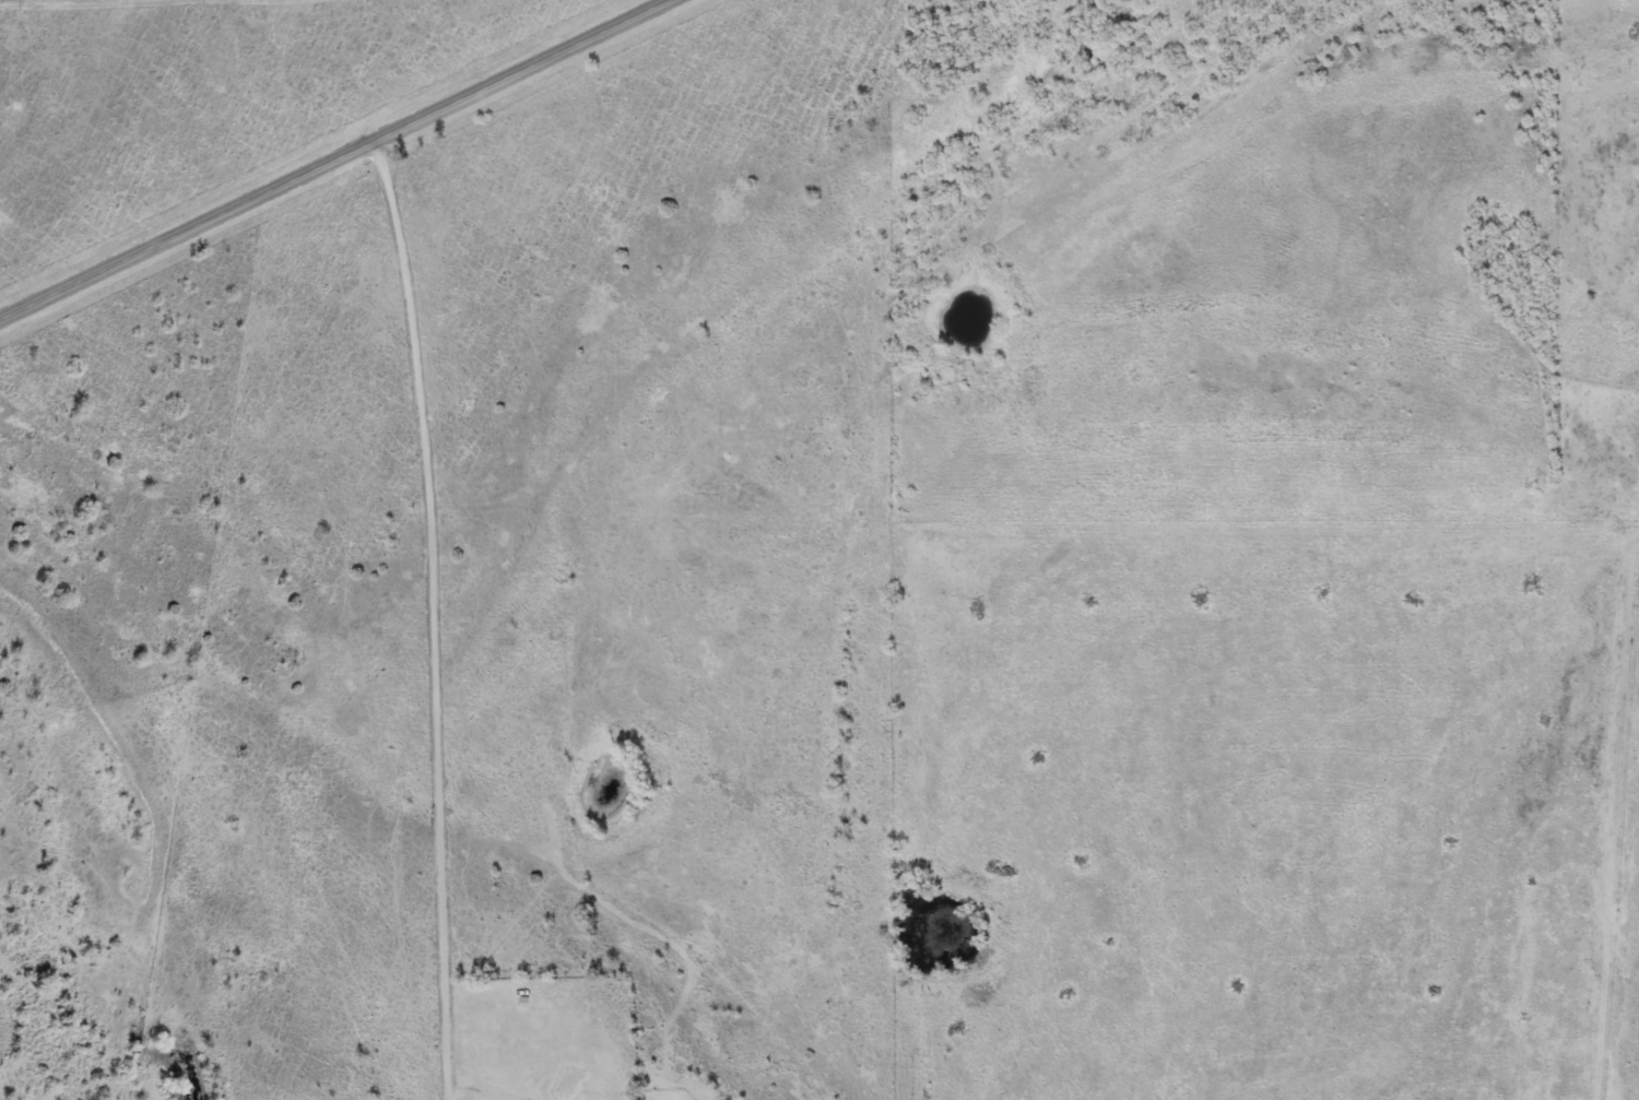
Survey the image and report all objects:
road: (338, 161)
road: (436, 618)

